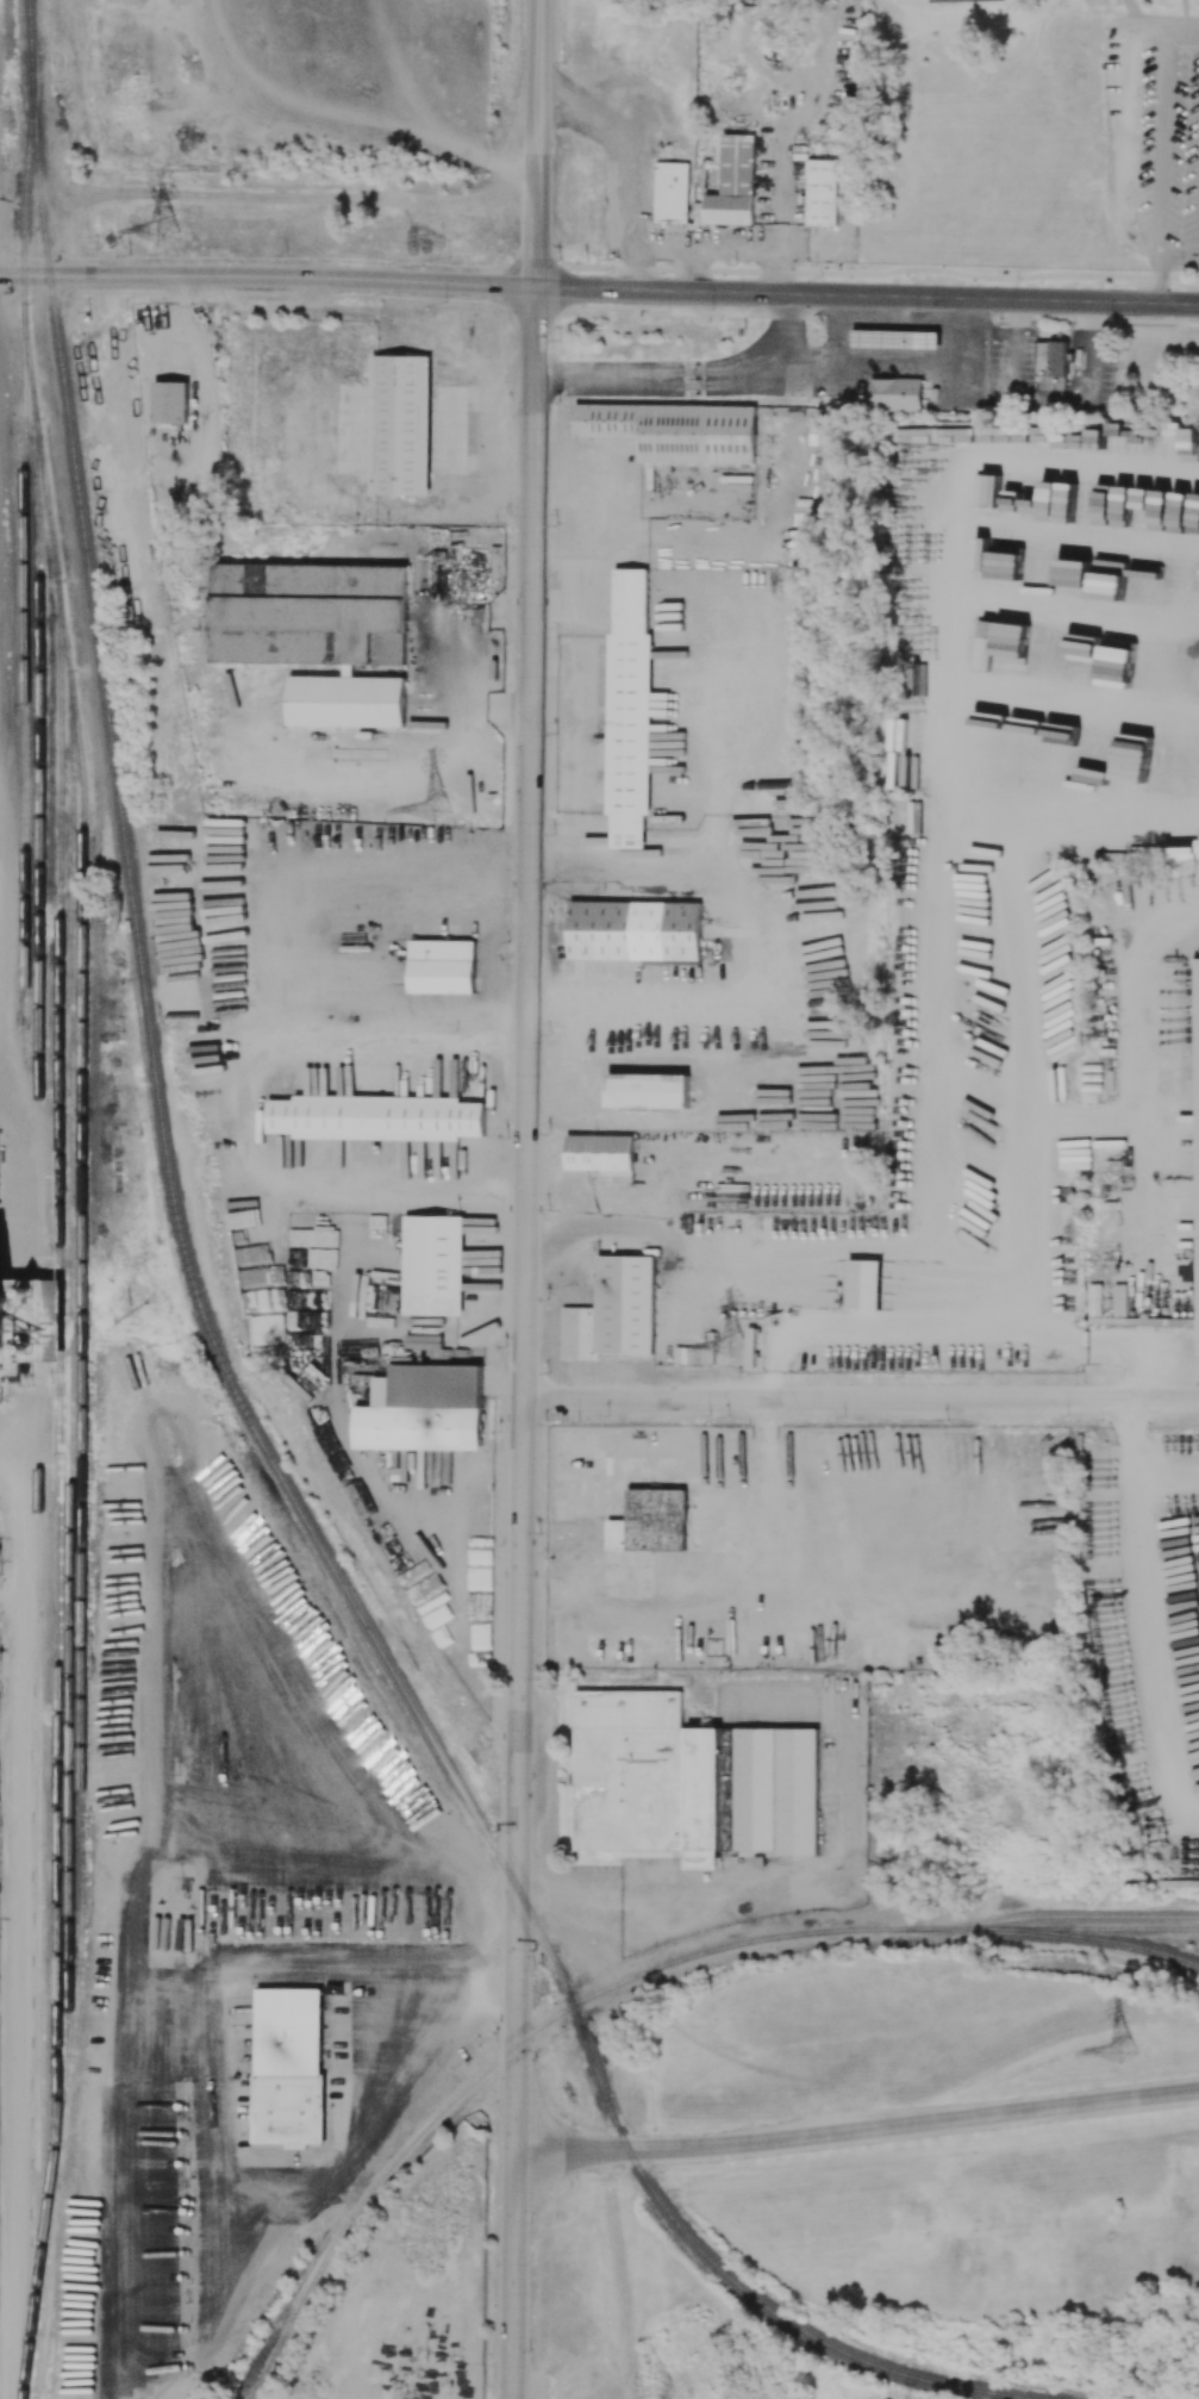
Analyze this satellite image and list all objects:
road: (1184, 30)
park: (355, 125)
park: (1033, 131)
parking lot: (1153, 133)
road: (536, 143)
road: (1161, 143)
building: (733, 181)
building: (672, 192)
building: (823, 193)
power tower: (167, 230)
railway: (45, 242)
road: (1178, 256)
road: (867, 274)
road: (267, 278)
road: (1157, 279)
road: (866, 295)
road: (832, 326)
road: (989, 329)
building: (891, 339)
road: (1089, 351)
road: (893, 361)
building: (1051, 364)
road: (685, 378)
road: (1012, 380)
building: (895, 393)
building: (170, 403)
building: (400, 424)
building: (675, 430)
road: (566, 456)
railway: (24, 524)
road: (937, 566)
building: (324, 638)
road: (461, 702)
building: (629, 708)
power tower: (438, 809)
building: (633, 929)
road: (961, 929)
road: (731, 936)
building: (446, 964)
road: (262, 1035)
road: (393, 1039)
building: (648, 1090)
building: (376, 1117)
building: (1197, 1136)
building: (600, 1153)
road: (681, 1235)
building: (433, 1265)
building: (864, 1282)
building: (55, 1296)
building: (629, 1303)
building: (10, 1308)
road: (829, 1322)
road: (522, 1342)
power tower: (733, 1345)
railway: (60, 1347)
railway: (39, 1358)
railway: (70, 1361)
railway: (83, 1363)
building: (439, 1384)
road: (1016, 1396)
road: (676, 1397)
road: (1166, 1465)
building: (650, 1521)
railway: (317, 1541)
road: (150, 1565)
road: (876, 1585)
road: (738, 1589)
road: (1143, 1609)
building: (688, 1781)
railway: (1051, 1918)
railway: (1053, 1928)
railway: (1113, 1940)
building: (292, 2031)
power tower: (1125, 2050)
railway: (504, 2056)
road: (856, 2127)
road: (302, 2205)

